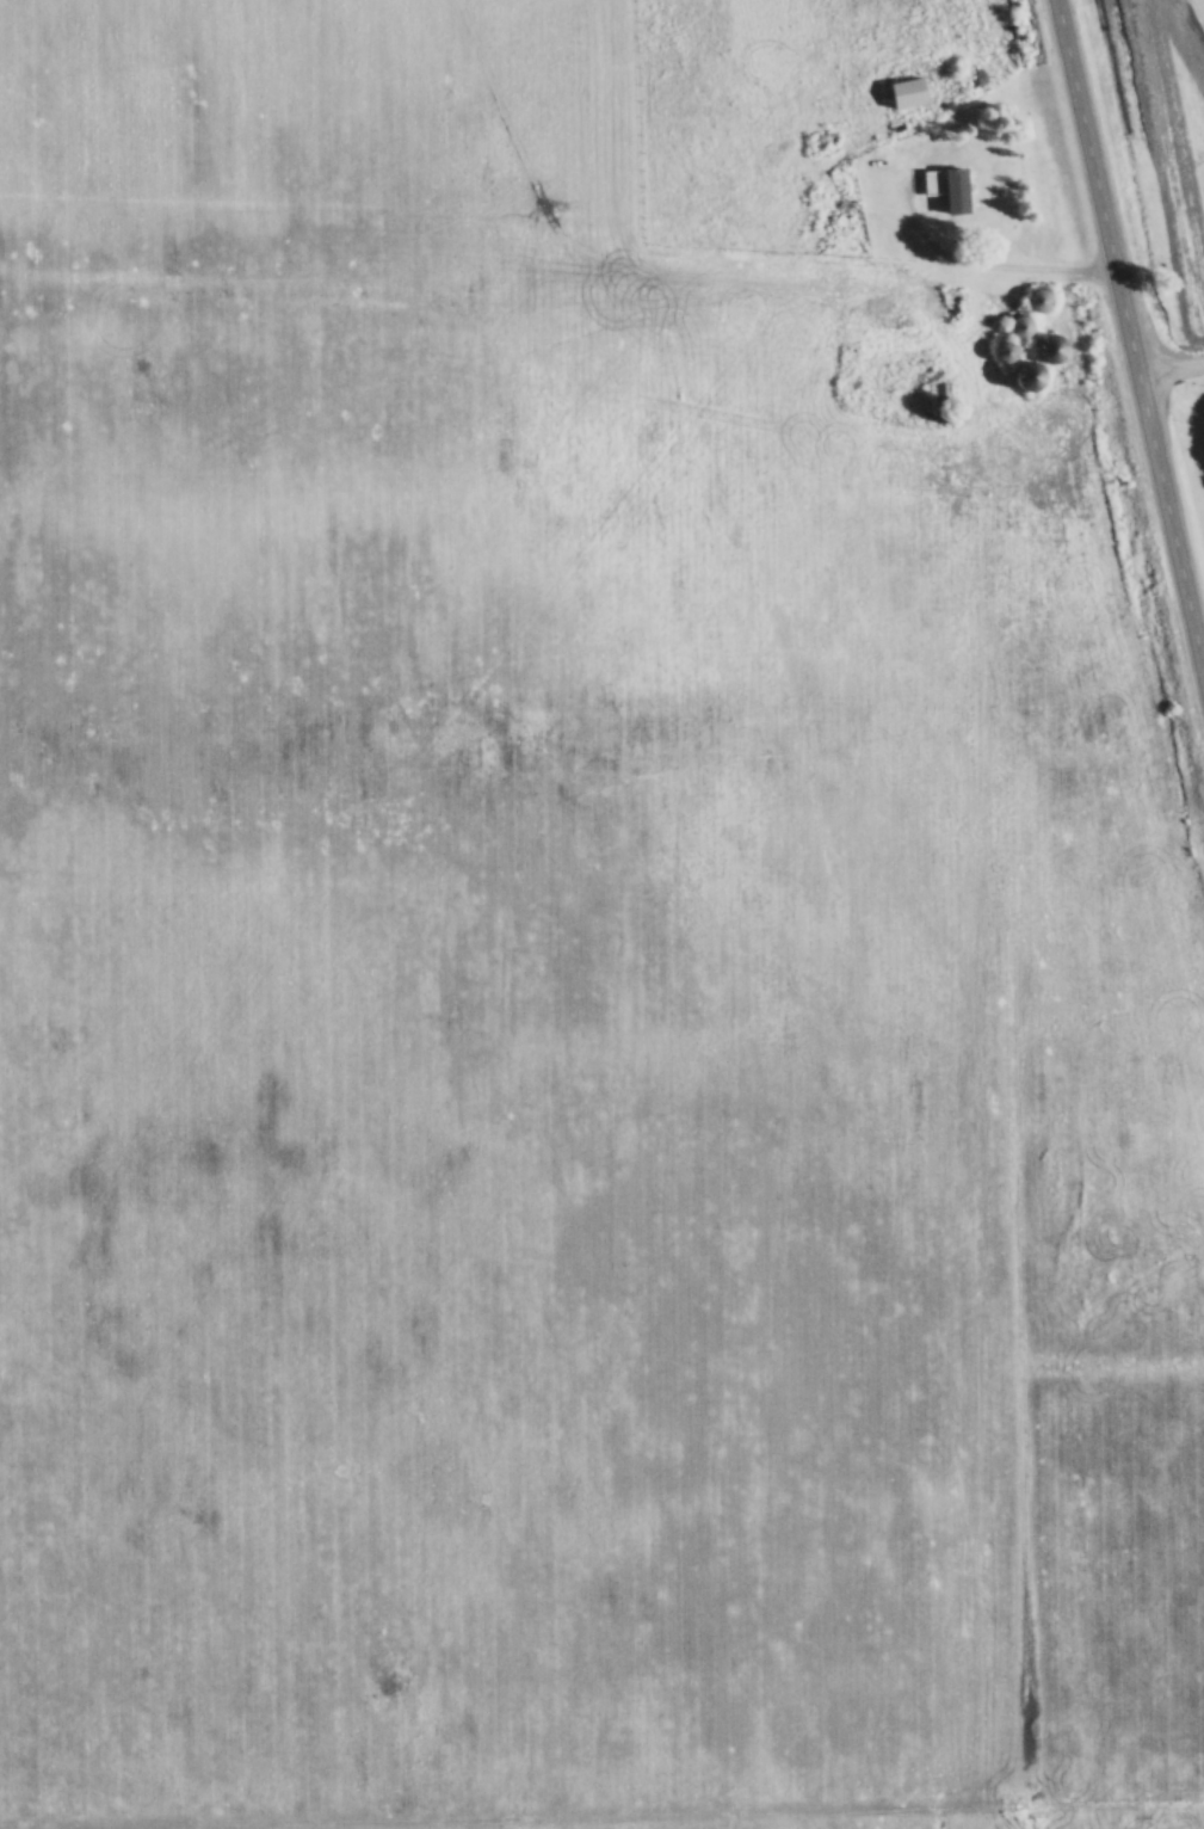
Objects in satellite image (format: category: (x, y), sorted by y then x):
building: (951, 186)
road: (992, 266)
building: (1043, 300)
road: (1131, 322)
building: (1023, 325)
building: (1054, 349)
road: (1172, 363)
building: (1032, 377)
building: (943, 401)

